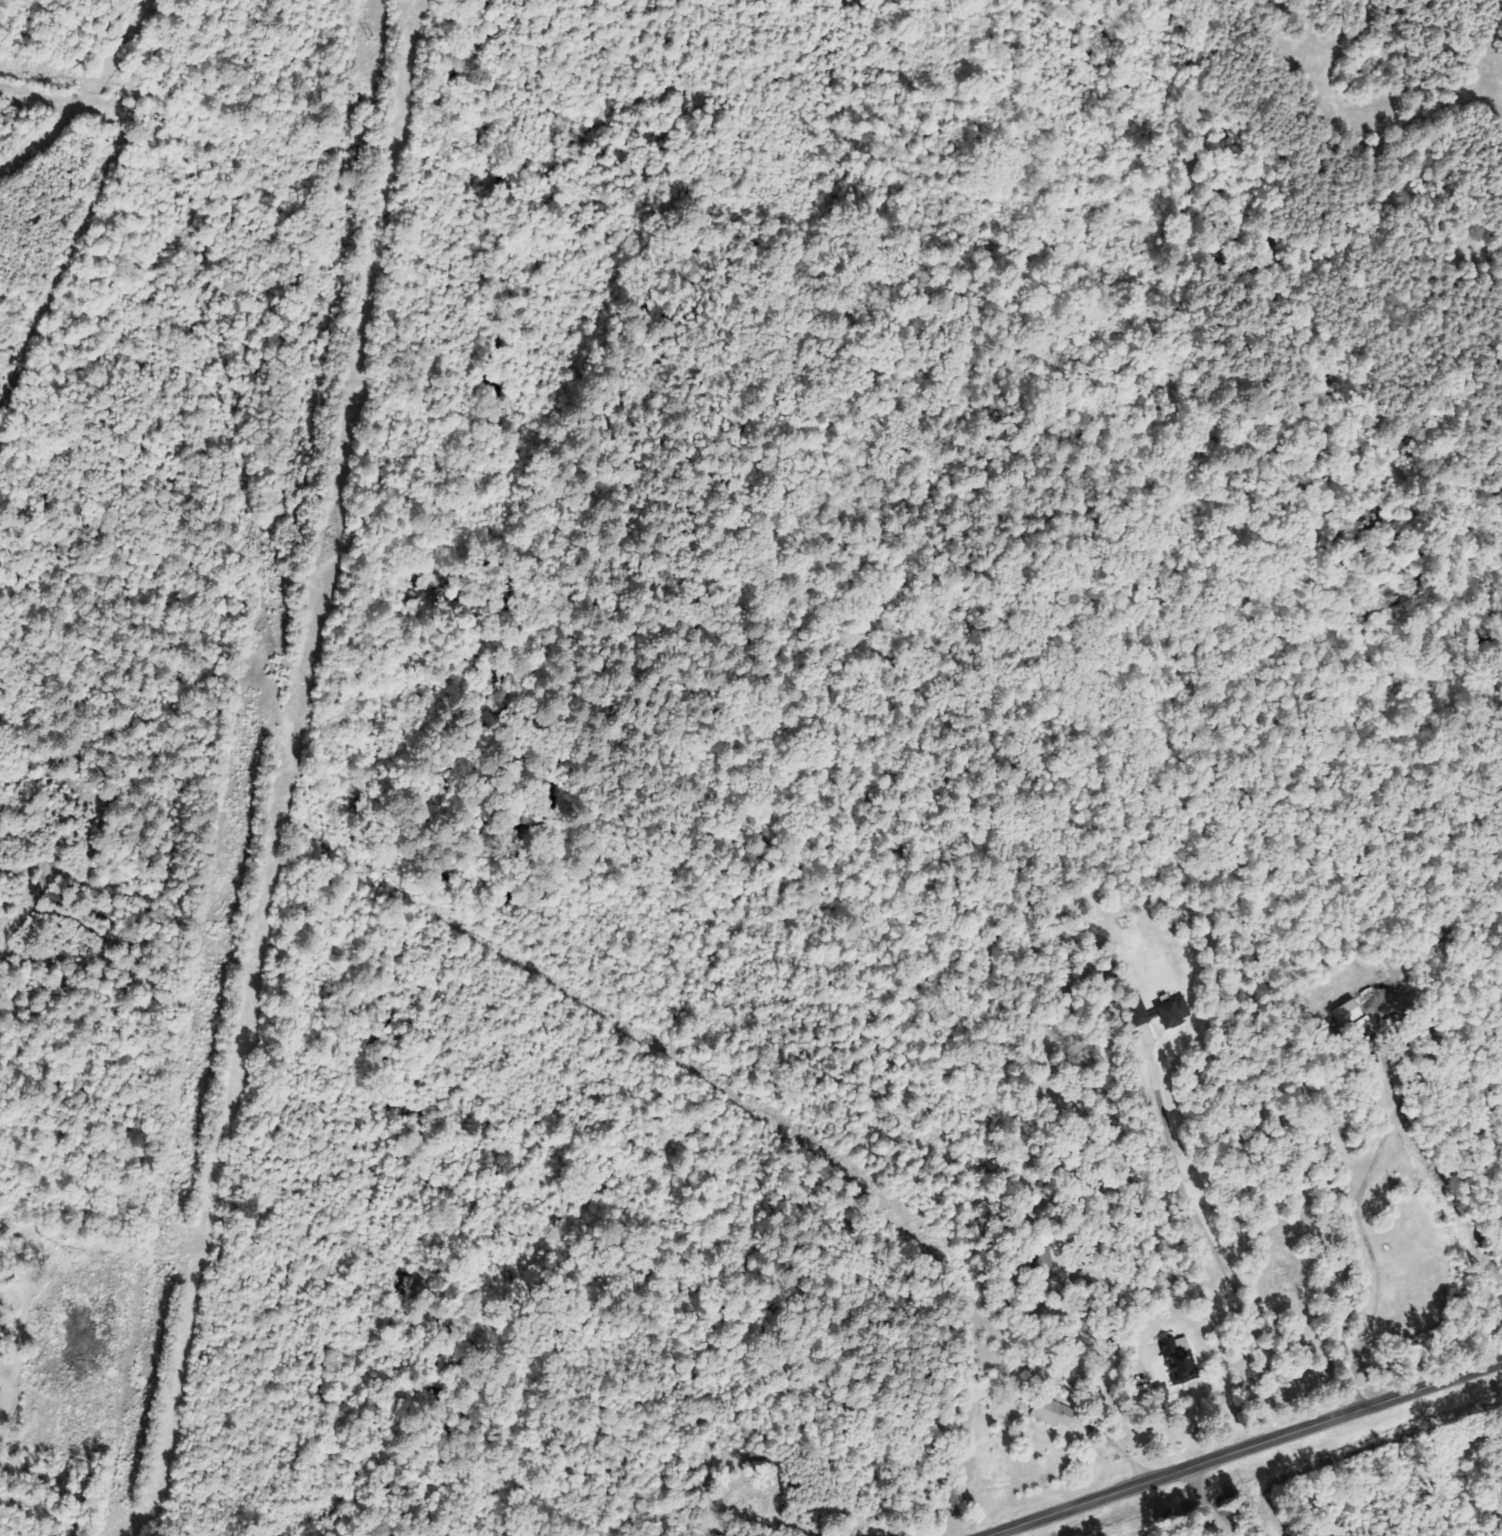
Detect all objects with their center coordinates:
building: (1177, 1012)
building: (1350, 1013)
building: (1145, 1014)
road: (1208, 1238)
building: (1041, 1258)
building: (1177, 1359)
building: (0, 1388)
building: (1049, 1412)
road: (1244, 1448)
building: (753, 1502)

